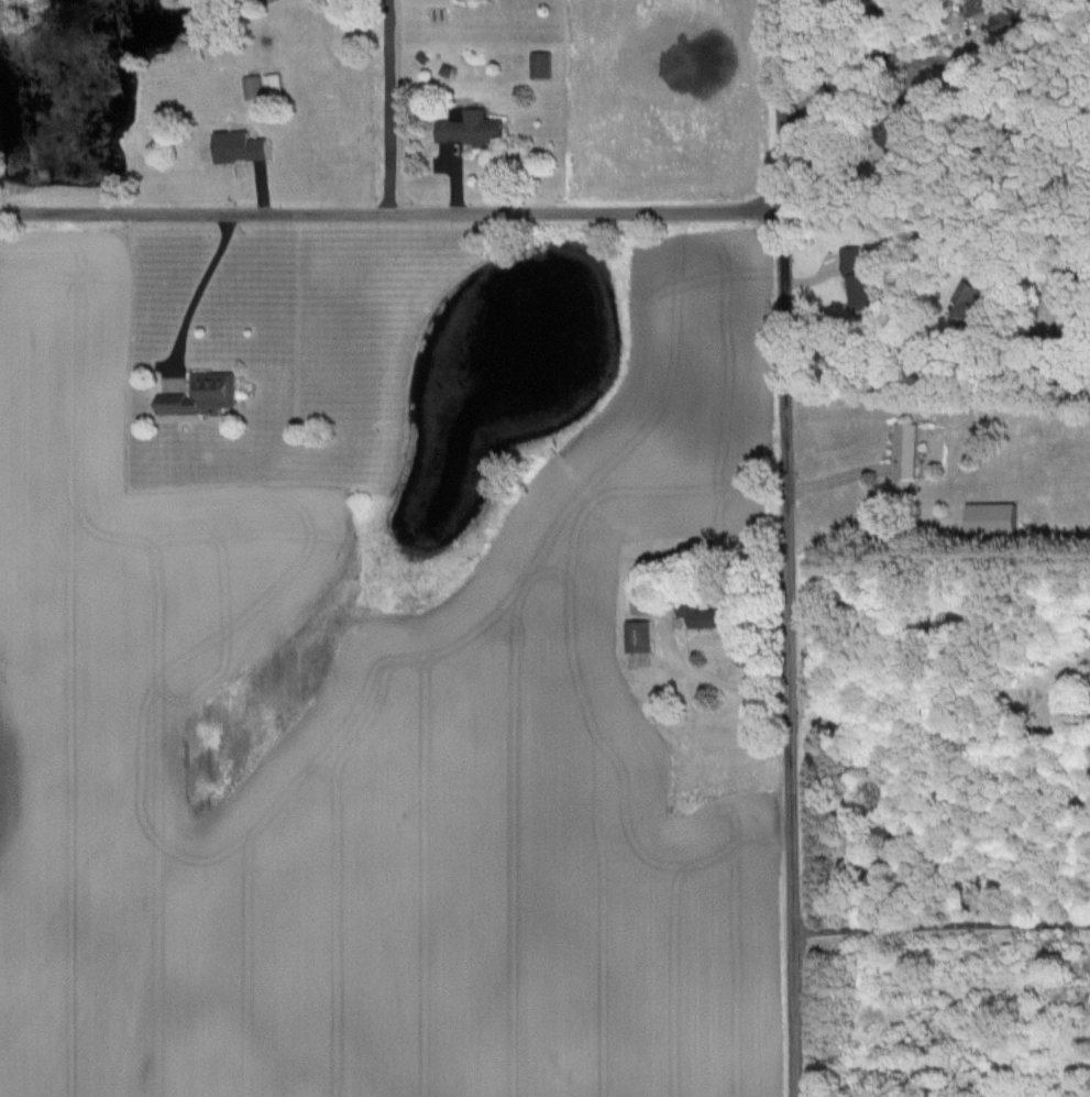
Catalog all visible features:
building: (880, 3)
building: (994, 14)
building: (253, 86)
road: (987, 97)
building: (470, 129)
building: (241, 146)
road: (390, 216)
building: (861, 279)
building: (969, 288)
road: (197, 293)
building: (1054, 333)
building: (202, 395)
building: (907, 449)
building: (992, 520)
road: (786, 548)
building: (707, 615)
building: (639, 637)
road: (712, 690)
road: (924, 742)
road: (942, 934)

